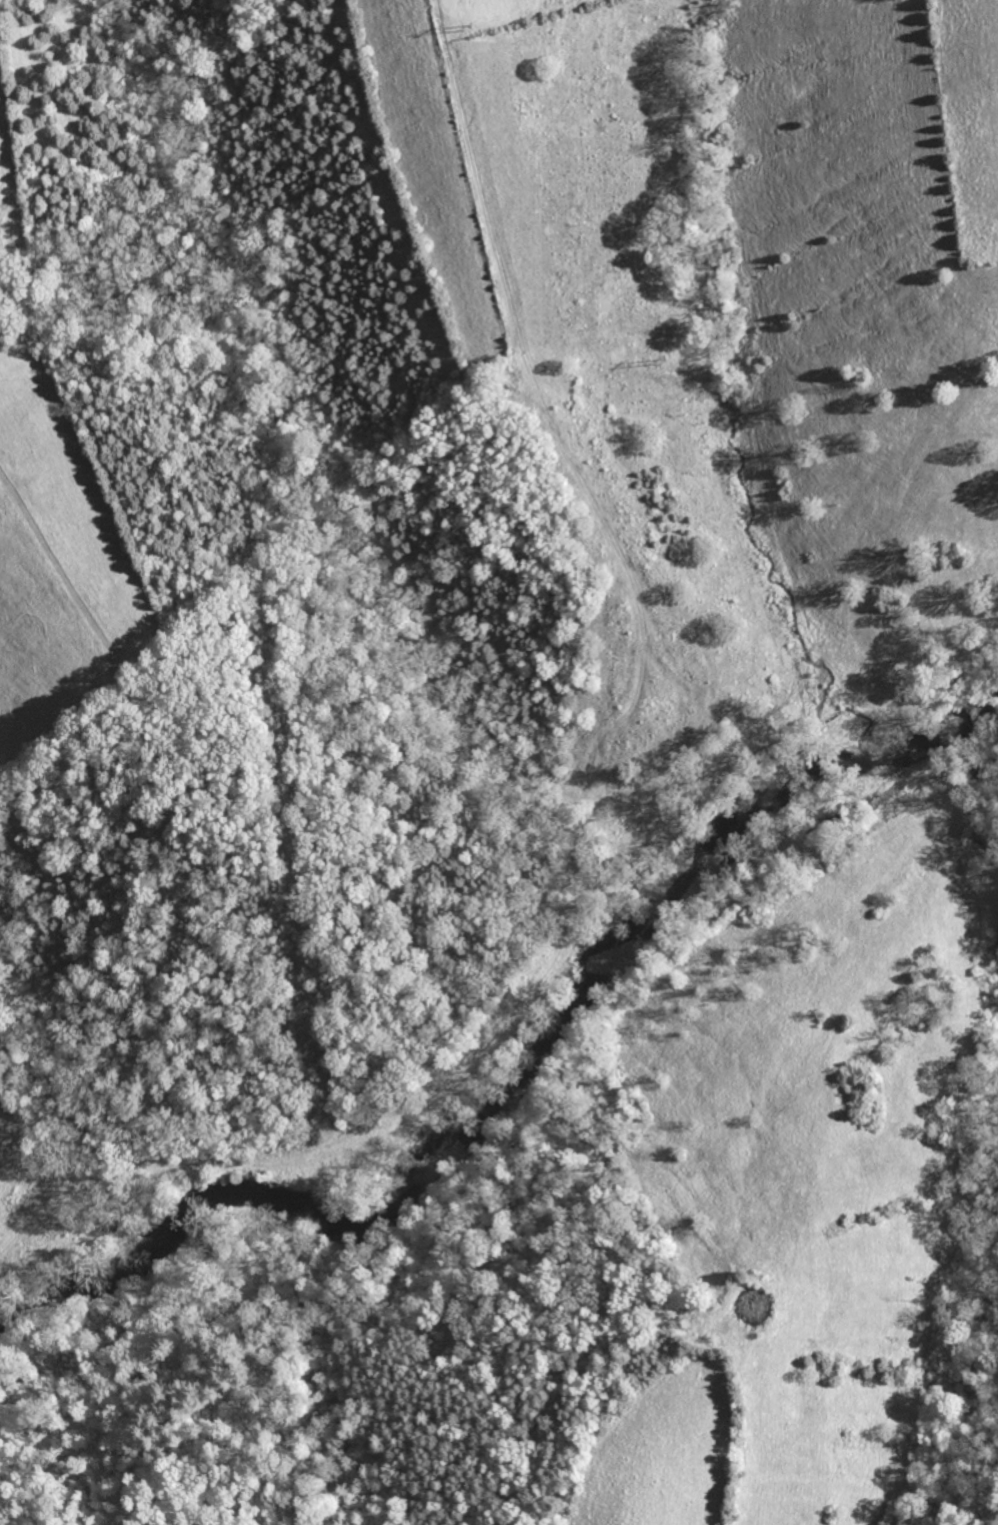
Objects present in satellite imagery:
power tower: (473, 23)
power tower: (666, 355)
power tower: (923, 795)

